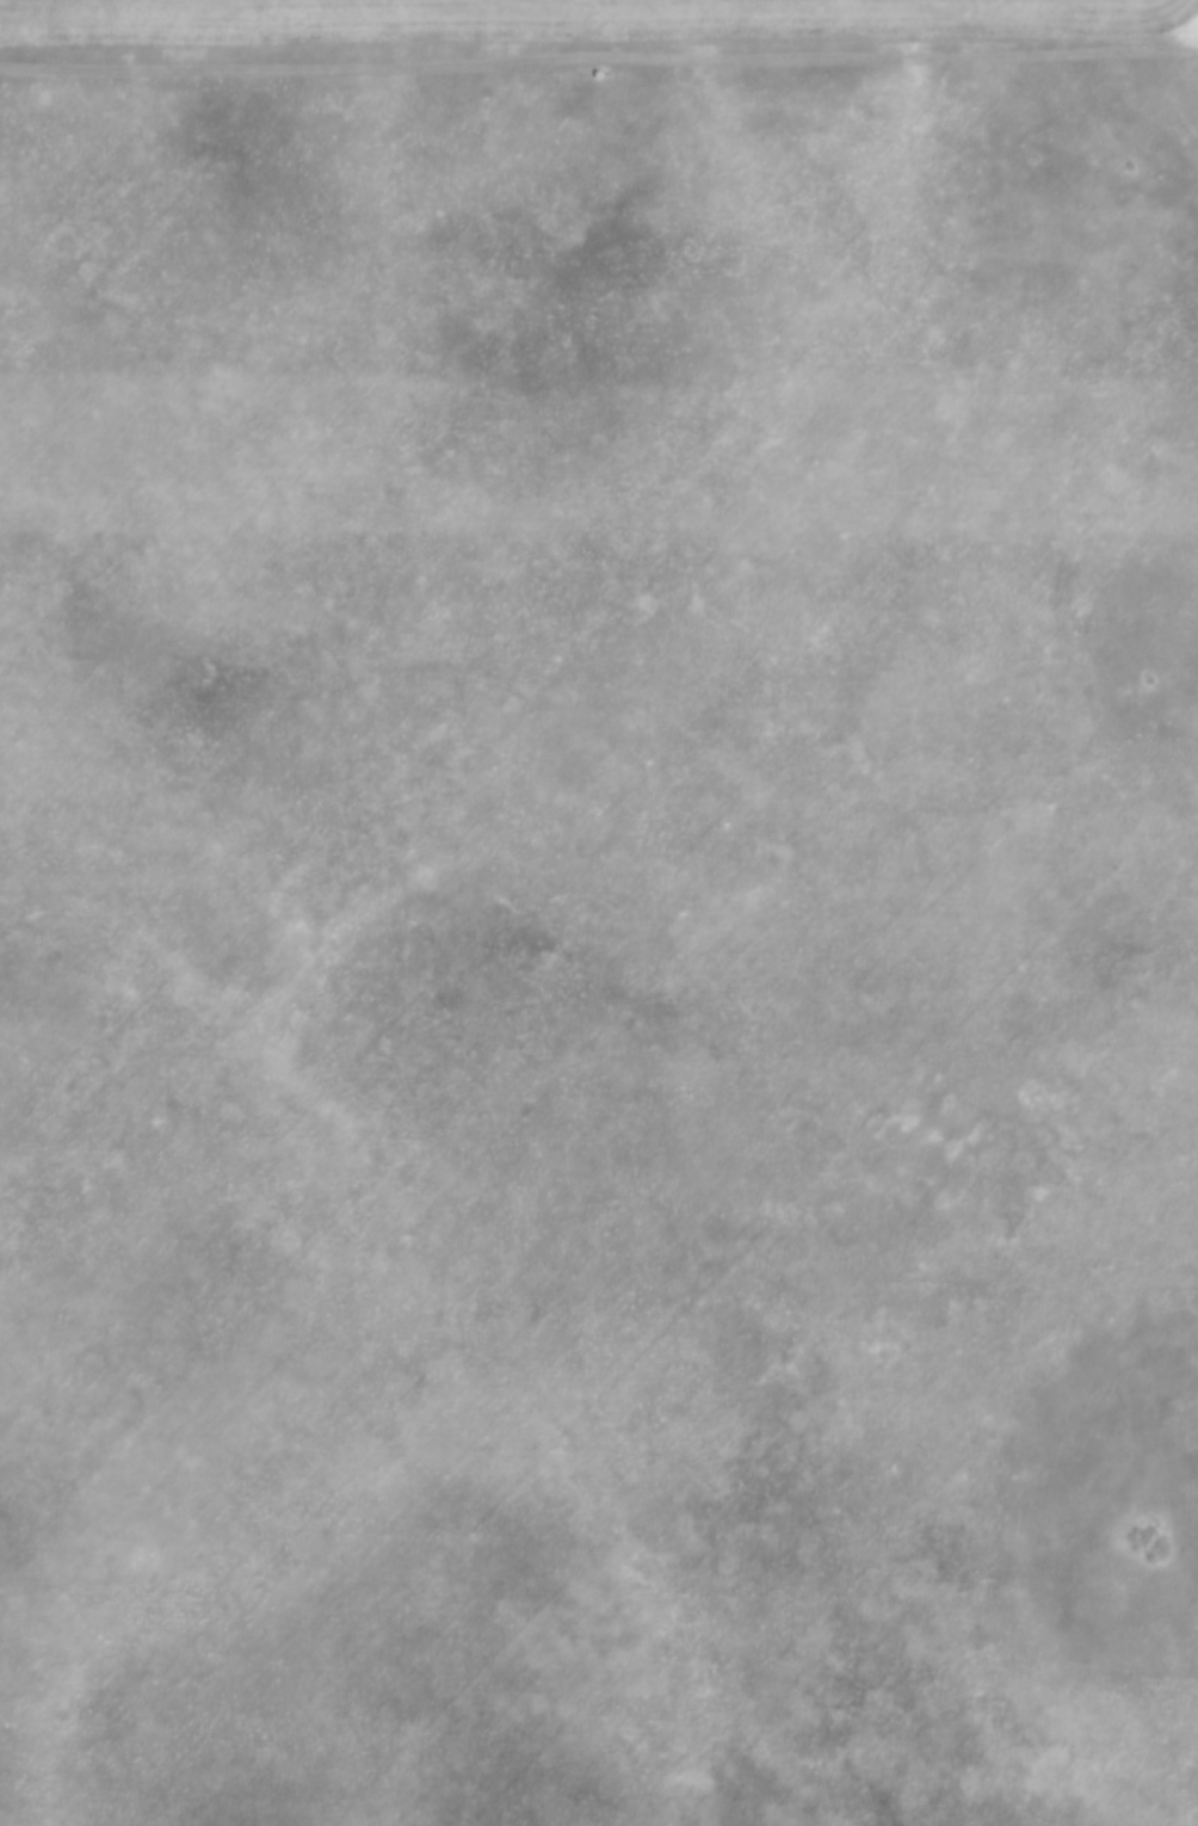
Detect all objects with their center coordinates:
road: (599, 82)

